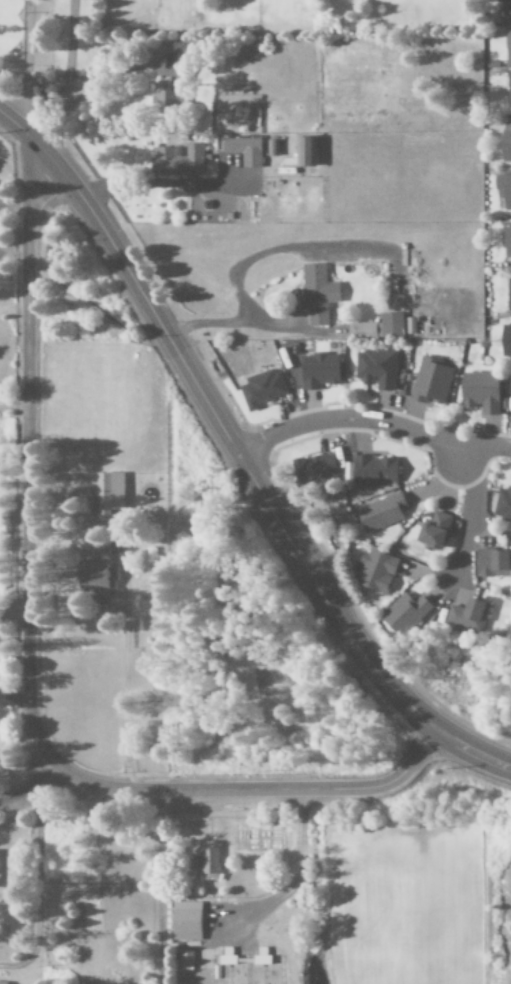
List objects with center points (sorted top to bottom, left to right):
building: (506, 8)
building: (508, 50)
building: (508, 92)
building: (165, 98)
building: (505, 146)
building: (272, 149)
building: (244, 151)
building: (305, 153)
building: (178, 161)
road: (28, 184)
building: (503, 190)
building: (506, 242)
building: (508, 290)
building: (316, 293)
building: (378, 327)
building: (505, 339)
building: (375, 368)
building: (318, 370)
building: (430, 381)
building: (260, 388)
building: (480, 391)
building: (510, 410)
road: (372, 419)
road: (240, 457)
building: (308, 470)
building: (369, 471)
building: (102, 493)
building: (502, 504)
building: (381, 512)
road: (472, 513)
building: (433, 530)
building: (492, 562)
building: (376, 571)
building: (95, 577)
building: (405, 614)
building: (467, 615)
road: (29, 670)
building: (206, 860)
building: (185, 921)
building: (226, 957)
building: (185, 960)
building: (2, 983)

